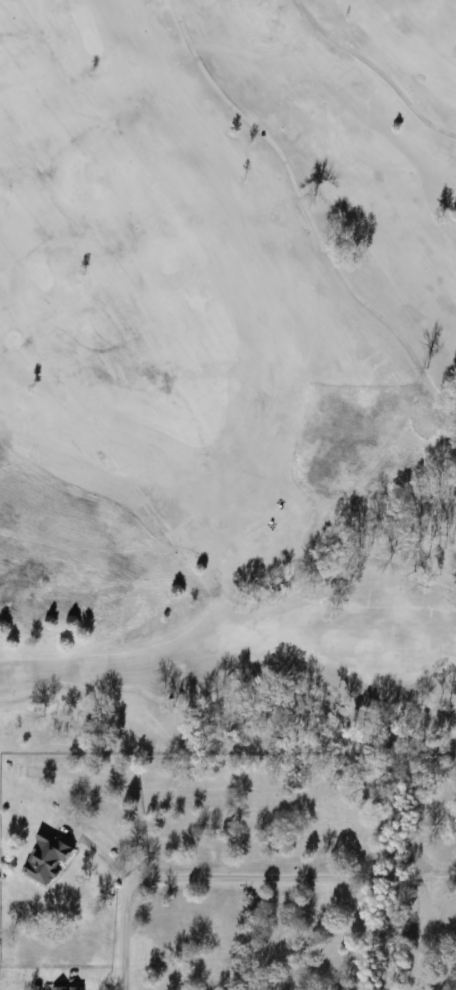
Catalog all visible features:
road: (241, 877)
road: (416, 934)

